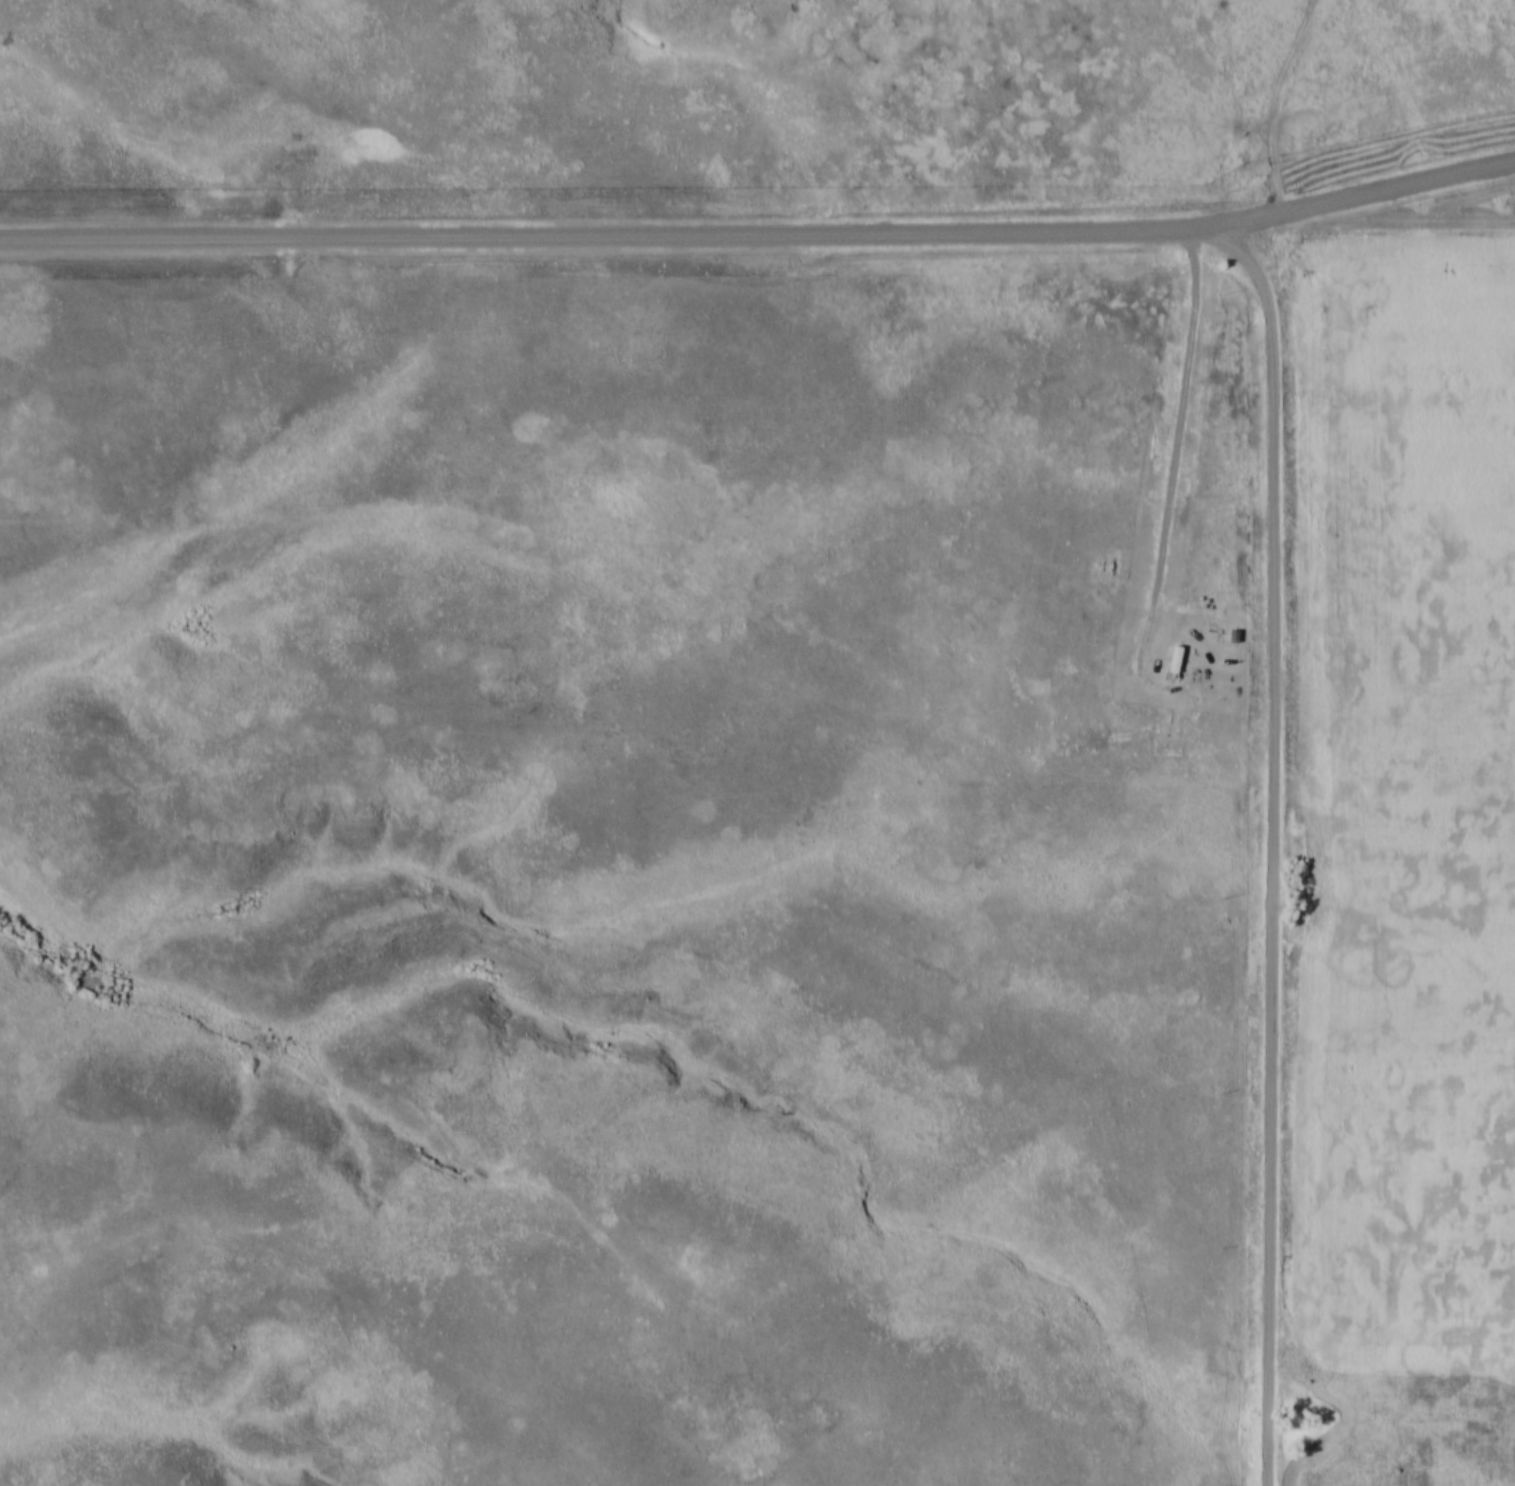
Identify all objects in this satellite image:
road: (1360, 192)
road: (603, 233)
road: (1176, 445)
building: (1233, 631)
building: (1176, 654)
road: (1278, 841)

